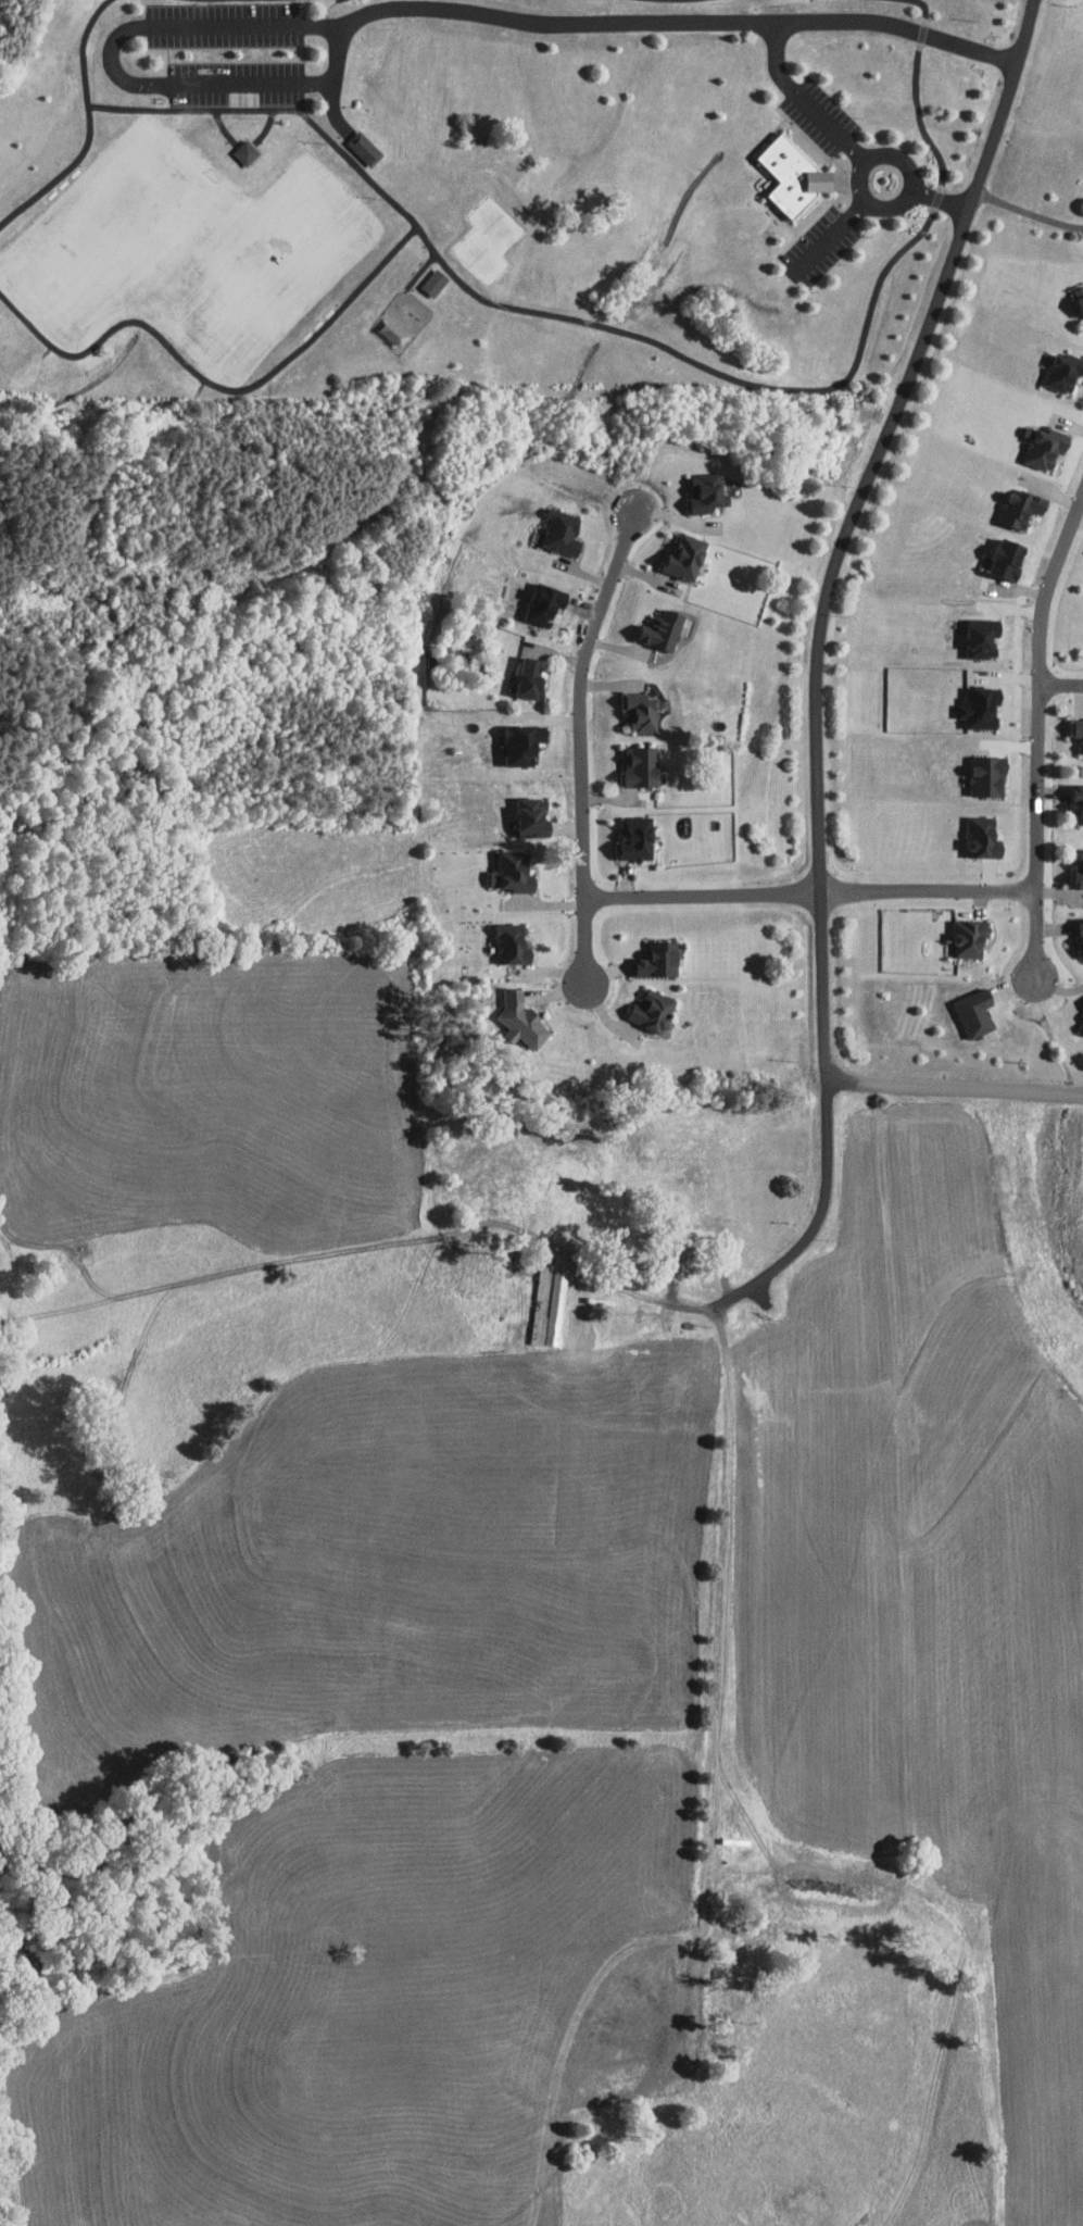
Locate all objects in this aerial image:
road: (415, 7)
parking lot: (228, 25)
parking lot: (239, 83)
parking lot: (822, 116)
road: (847, 142)
building: (236, 146)
building: (363, 146)
building: (244, 152)
building: (791, 176)
road: (872, 202)
road: (1028, 212)
road: (832, 234)
parking lot: (823, 246)
building: (426, 276)
building: (1074, 295)
building: (1057, 366)
building: (1037, 442)
building: (697, 487)
building: (1010, 502)
building: (554, 527)
building: (675, 551)
building: (1002, 553)
building: (650, 623)
building: (525, 672)
road: (816, 676)
road: (1062, 685)
building: (971, 702)
building: (632, 706)
building: (1074, 728)
road: (1040, 735)
building: (514, 738)
road: (584, 743)
building: (632, 762)
building: (979, 771)
building: (1073, 799)
building: (521, 811)
building: (975, 831)
building: (627, 833)
building: (1074, 865)
building: (505, 866)
road: (813, 888)
building: (961, 933)
building: (1073, 933)
building: (503, 937)
building: (651, 954)
building: (643, 1005)
building: (966, 1006)
building: (1079, 1010)
building: (514, 1015)
road: (957, 1086)
road: (729, 1248)
road: (627, 1289)
building: (568, 1317)
road: (715, 1567)

